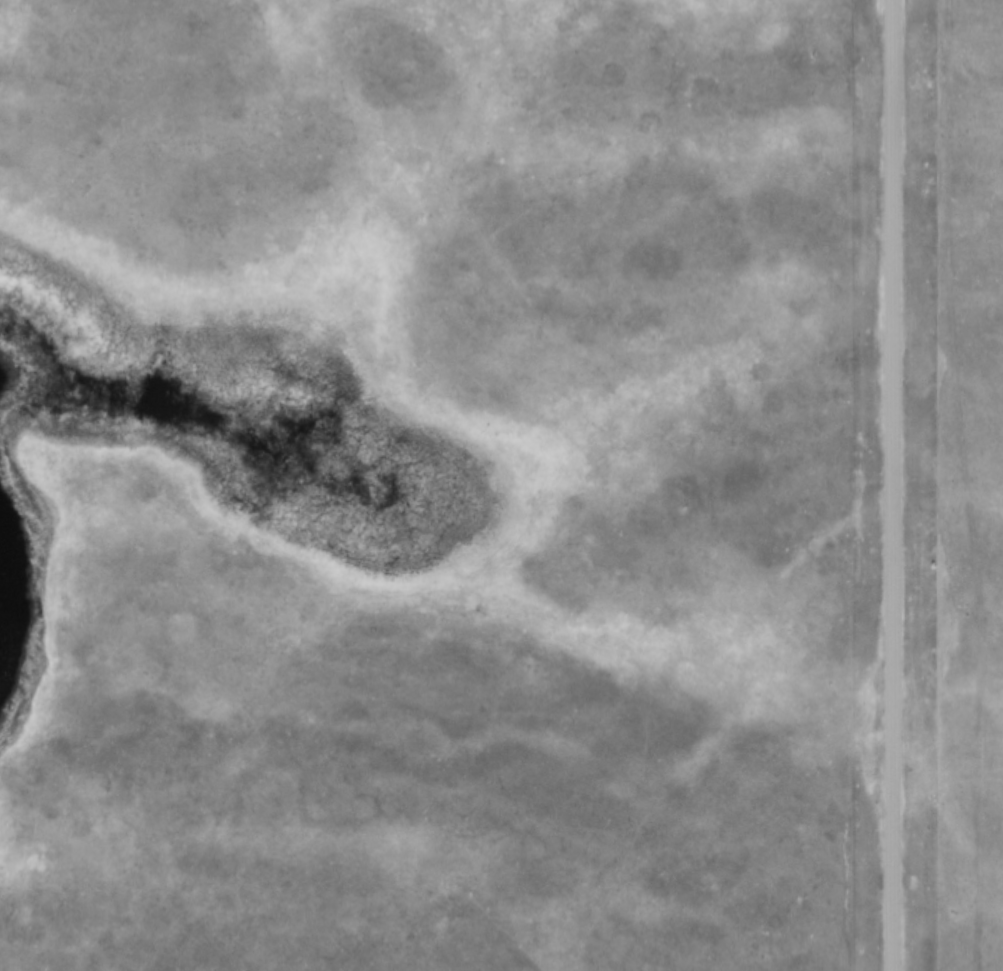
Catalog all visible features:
road: (893, 485)

